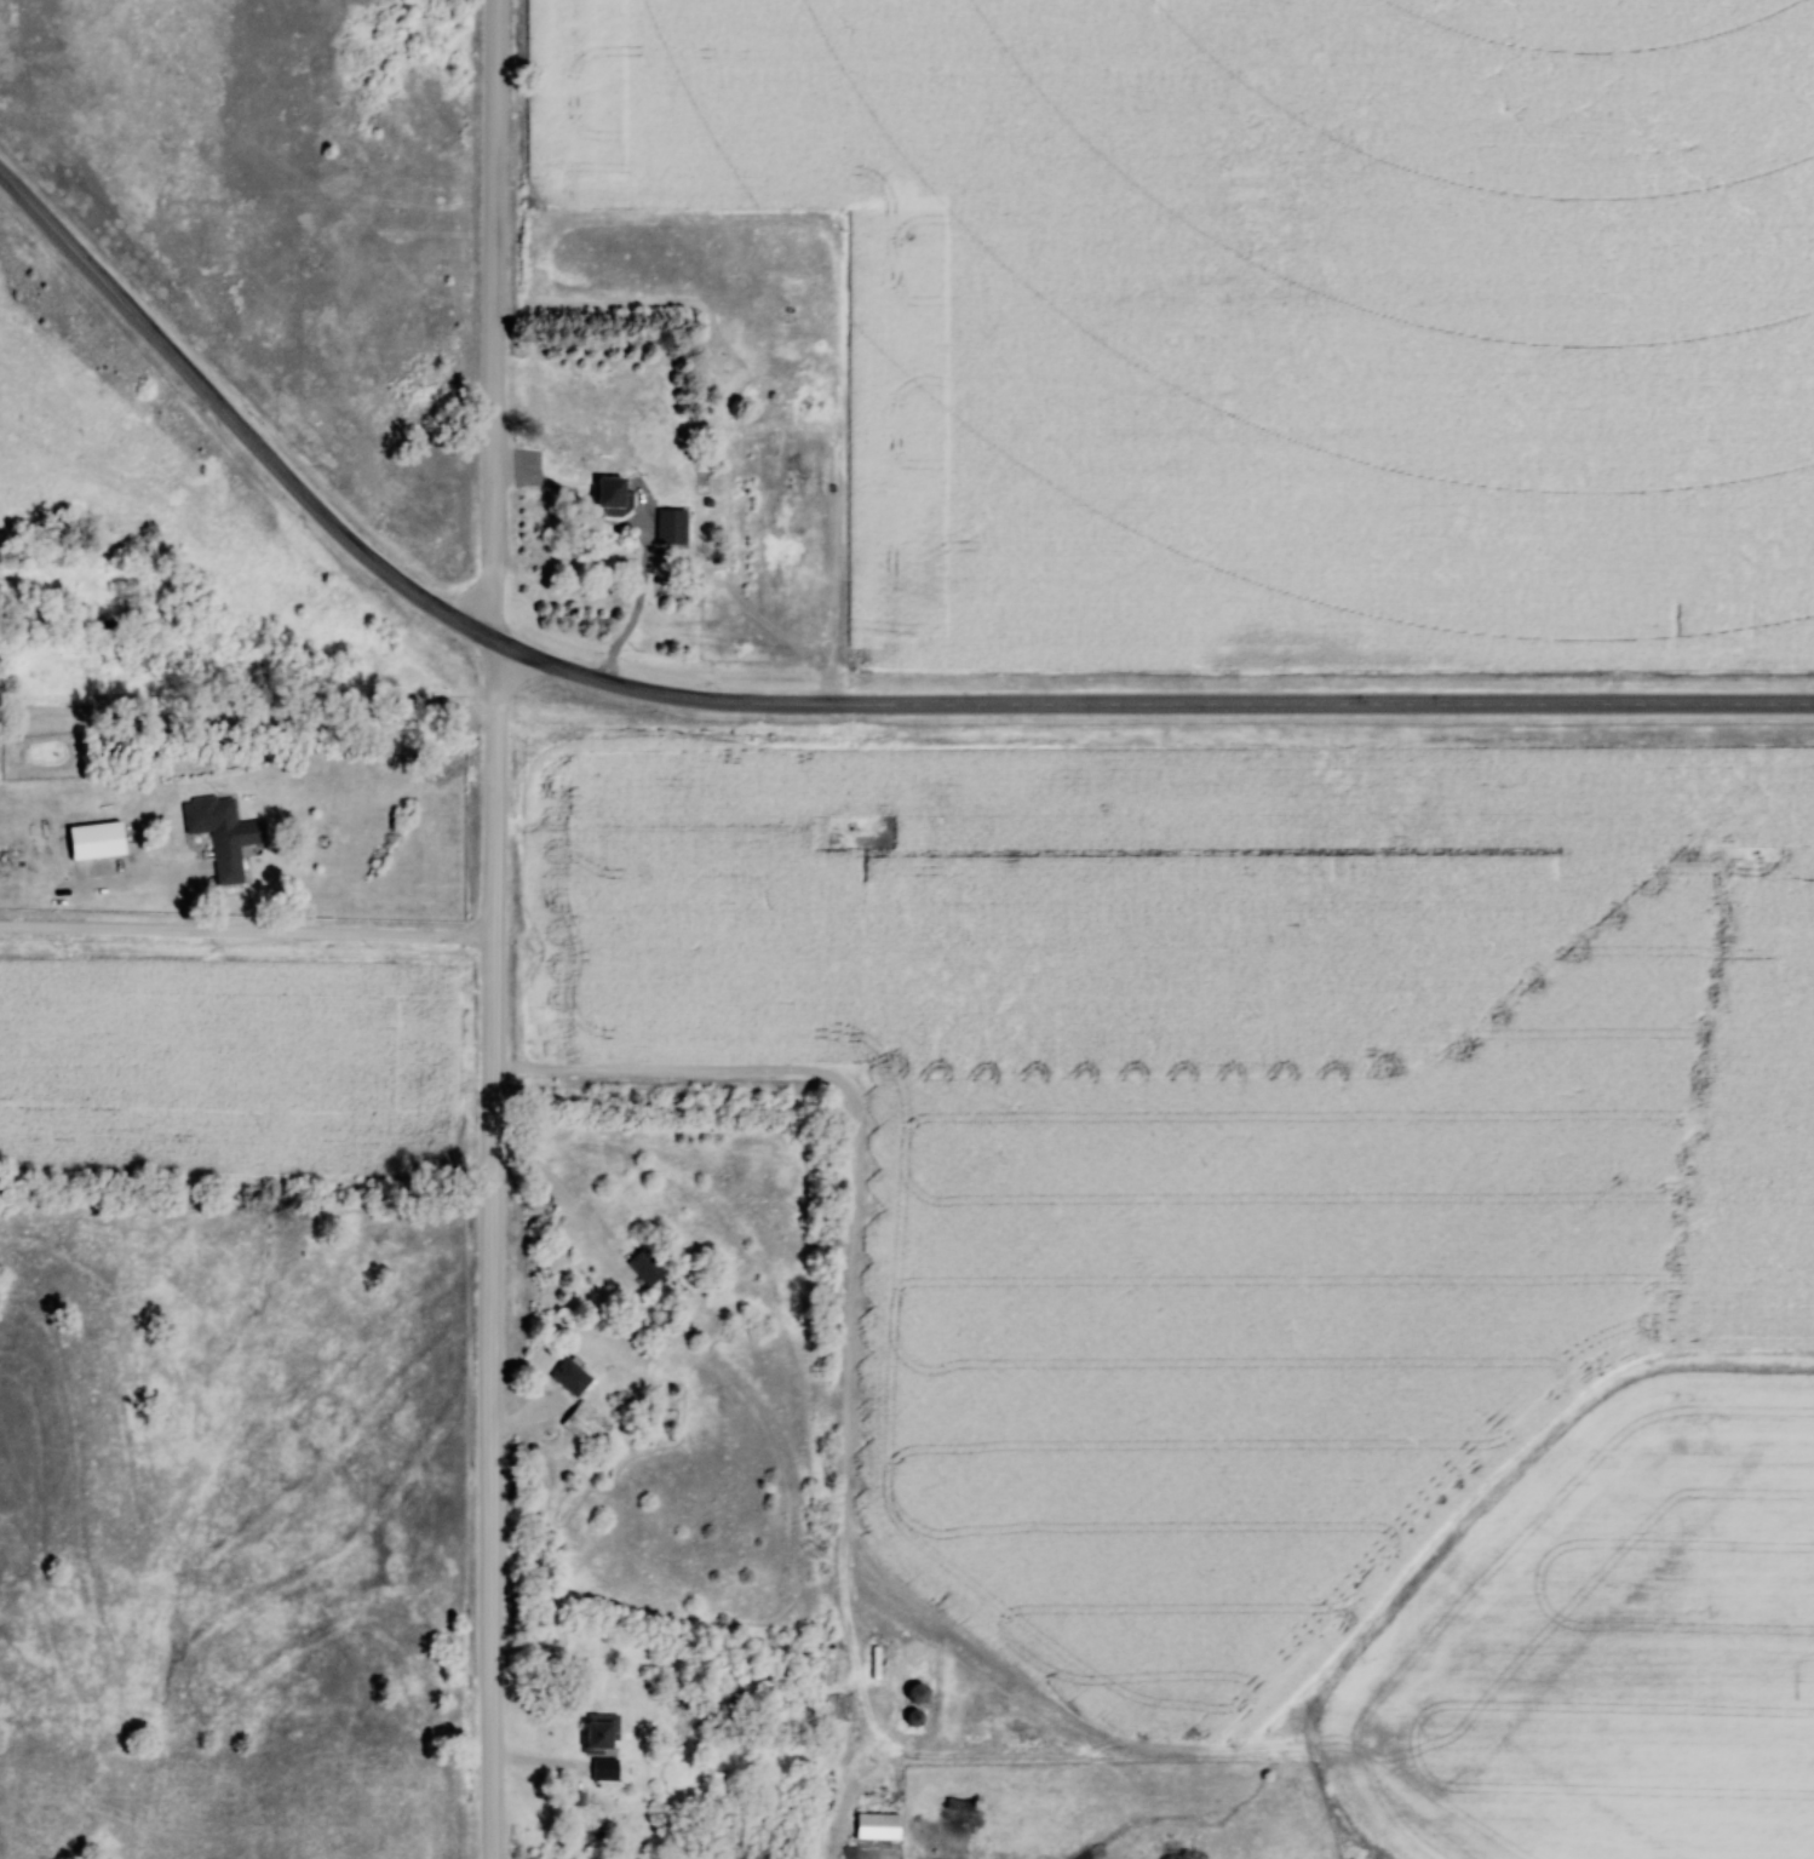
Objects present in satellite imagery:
road: (492, 367)
building: (609, 495)
building: (668, 526)
road: (804, 702)
building: (220, 834)
building: (93, 840)
road: (246, 930)
building: (644, 1267)
road: (490, 1296)
building: (568, 1377)
road: (524, 1418)
building: (581, 1427)
building: (914, 1693)
building: (911, 1717)
building: (597, 1732)
building: (603, 1769)
building: (874, 1828)

